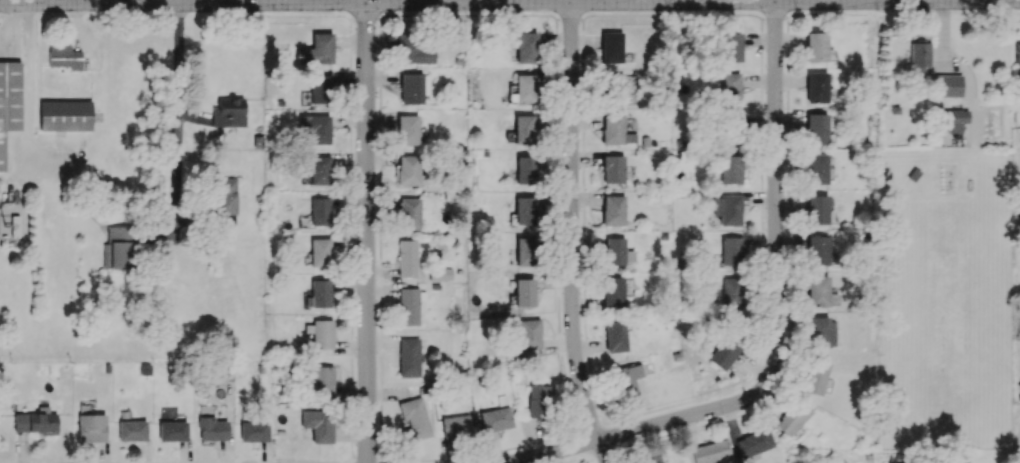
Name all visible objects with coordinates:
road: (564, 1)
road: (107, 2)
road: (453, 2)
road: (510, 3)
building: (816, 46)
building: (526, 47)
building: (611, 47)
building: (731, 47)
building: (413, 49)
building: (317, 50)
building: (1017, 54)
building: (64, 56)
building: (948, 85)
building: (730, 87)
building: (817, 87)
building: (412, 88)
building: (524, 88)
building: (617, 88)
building: (319, 89)
building: (8, 99)
building: (229, 112)
building: (65, 115)
building: (956, 120)
road: (178, 121)
building: (316, 127)
building: (816, 128)
building: (407, 129)
building: (524, 129)
building: (616, 129)
road: (777, 136)
building: (817, 168)
building: (525, 169)
building: (613, 169)
building: (731, 169)
building: (320, 170)
building: (408, 170)
building: (226, 200)
building: (728, 209)
building: (817, 209)
building: (523, 210)
building: (613, 210)
building: (320, 211)
building: (410, 212)
building: (15, 225)
road: (371, 233)
road: (571, 235)
building: (116, 248)
building: (731, 250)
building: (818, 250)
building: (525, 251)
building: (617, 251)
building: (320, 252)
building: (407, 258)
building: (441, 273)
building: (614, 291)
building: (732, 291)
building: (817, 291)
building: (524, 292)
building: (319, 294)
building: (409, 306)
building: (821, 332)
building: (321, 333)
building: (529, 333)
building: (615, 336)
building: (725, 351)
building: (409, 357)
building: (815, 376)
building: (627, 379)
building: (324, 380)
building: (537, 400)
road: (708, 414)
building: (416, 418)
building: (792, 418)
building: (496, 419)
building: (36, 420)
building: (318, 424)
building: (456, 425)
building: (91, 427)
building: (212, 428)
building: (132, 430)
building: (172, 430)
building: (254, 431)
building: (754, 442)
building: (711, 452)
building: (658, 461)

